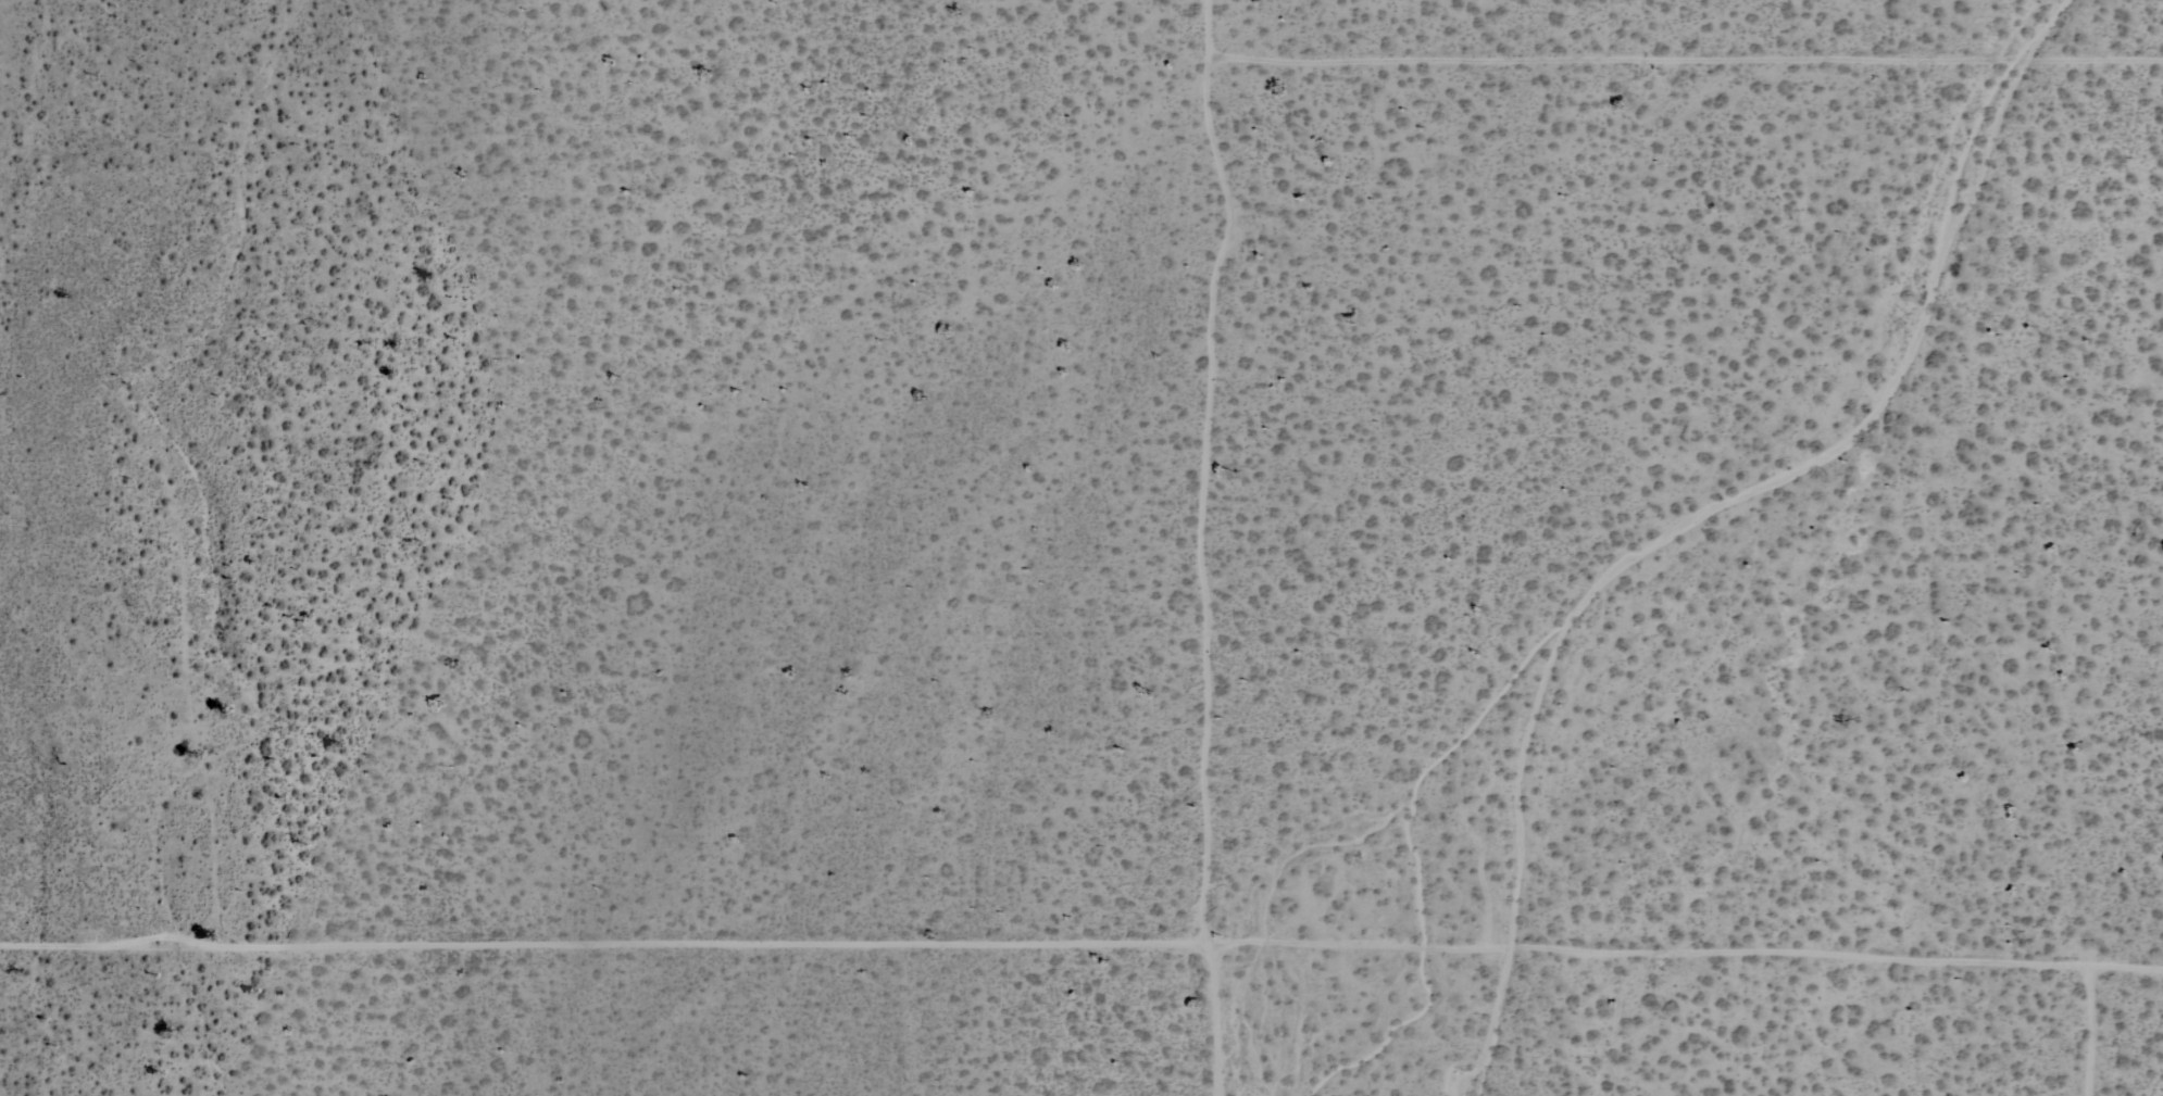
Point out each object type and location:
road: (1685, 61)
road: (1205, 547)
road: (601, 957)
road: (1683, 957)
road: (2086, 1031)

